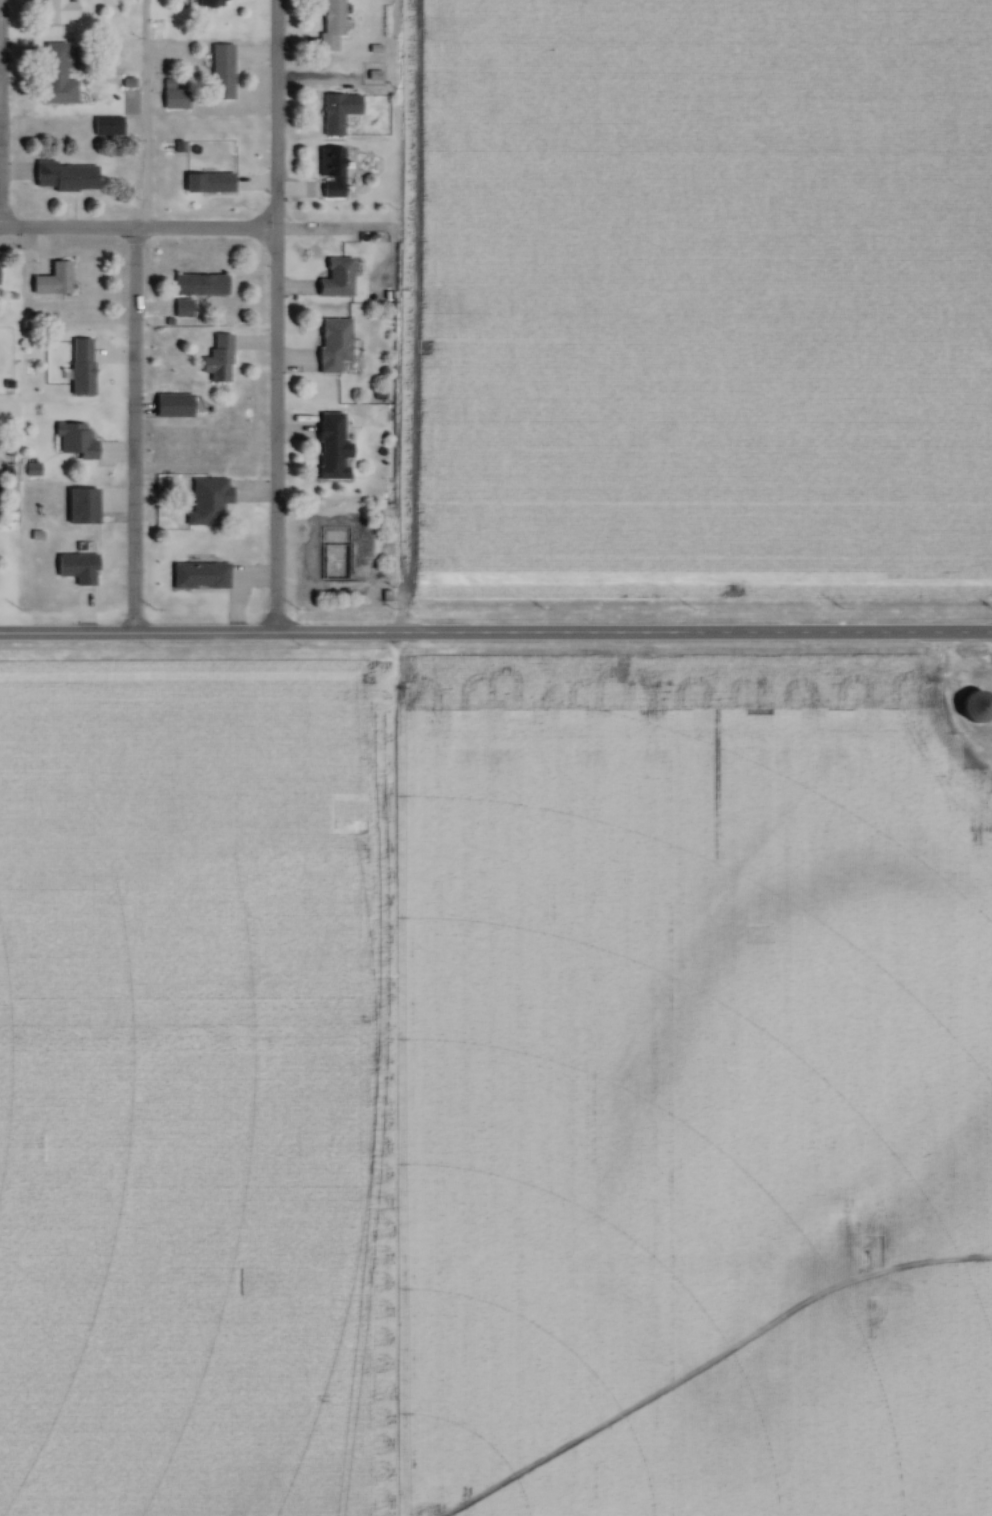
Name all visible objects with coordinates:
building: (208, 4)
building: (55, 12)
building: (328, 25)
building: (219, 73)
building: (53, 77)
building: (171, 97)
building: (336, 113)
road: (141, 114)
building: (105, 127)
building: (329, 173)
building: (63, 177)
building: (205, 184)
road: (138, 229)
building: (333, 280)
building: (49, 281)
building: (197, 286)
building: (180, 310)
road: (275, 317)
road: (414, 318)
building: (330, 346)
building: (215, 361)
building: (78, 369)
building: (169, 407)
road: (132, 433)
building: (71, 443)
building: (328, 449)
building: (205, 503)
building: (78, 508)
building: (75, 566)
building: (197, 577)
road: (709, 634)
road: (213, 635)
crop: (692, 1089)

